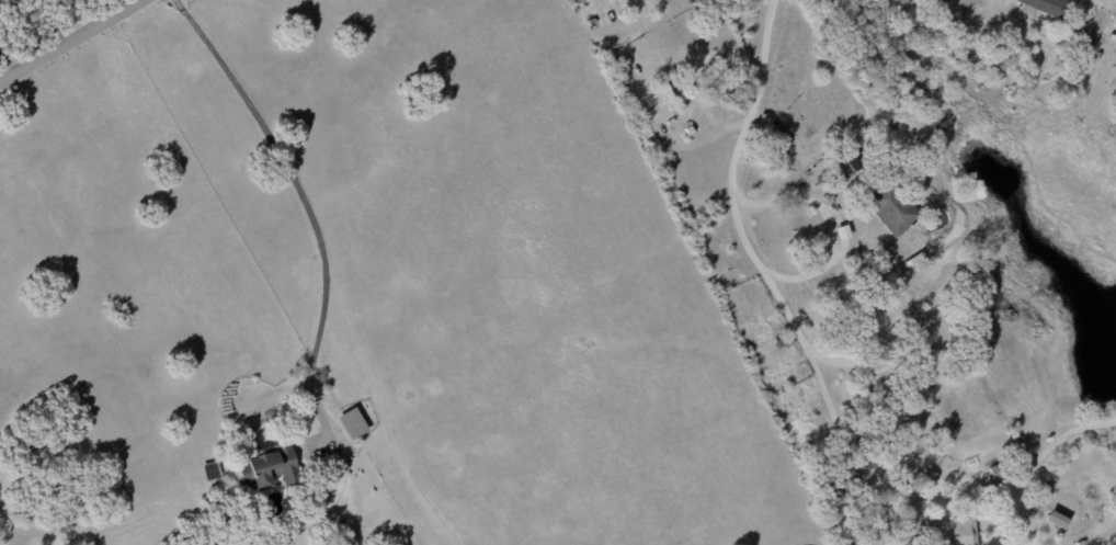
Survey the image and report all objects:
building: (1045, 7)
road: (57, 22)
road: (69, 39)
road: (886, 43)
road: (3, 71)
road: (751, 106)
road: (305, 207)
building: (895, 211)
road: (843, 252)
road: (884, 308)
building: (352, 423)
road: (863, 456)
road: (1038, 459)
building: (267, 466)
building: (847, 479)
road: (1009, 506)
building: (954, 532)

